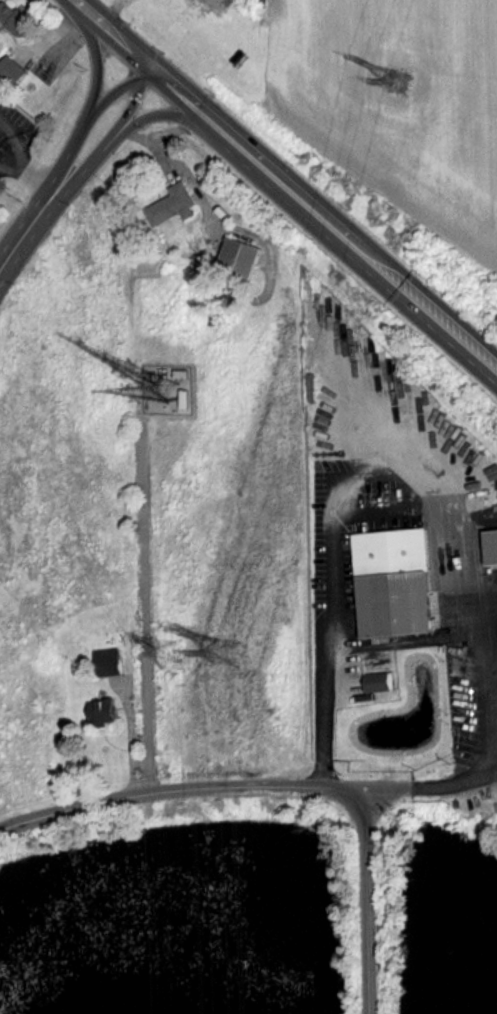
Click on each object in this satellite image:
road: (114, 34)
road: (95, 58)
power tower: (408, 78)
crop: (397, 102)
road: (164, 113)
road: (88, 114)
road: (114, 135)
road: (16, 149)
road: (38, 175)
road: (323, 220)
road: (29, 225)
road: (332, 541)
road: (463, 590)
road: (483, 624)
road: (396, 643)
power tower: (226, 651)
power tower: (164, 653)
road: (129, 739)
road: (246, 785)
road: (367, 901)

